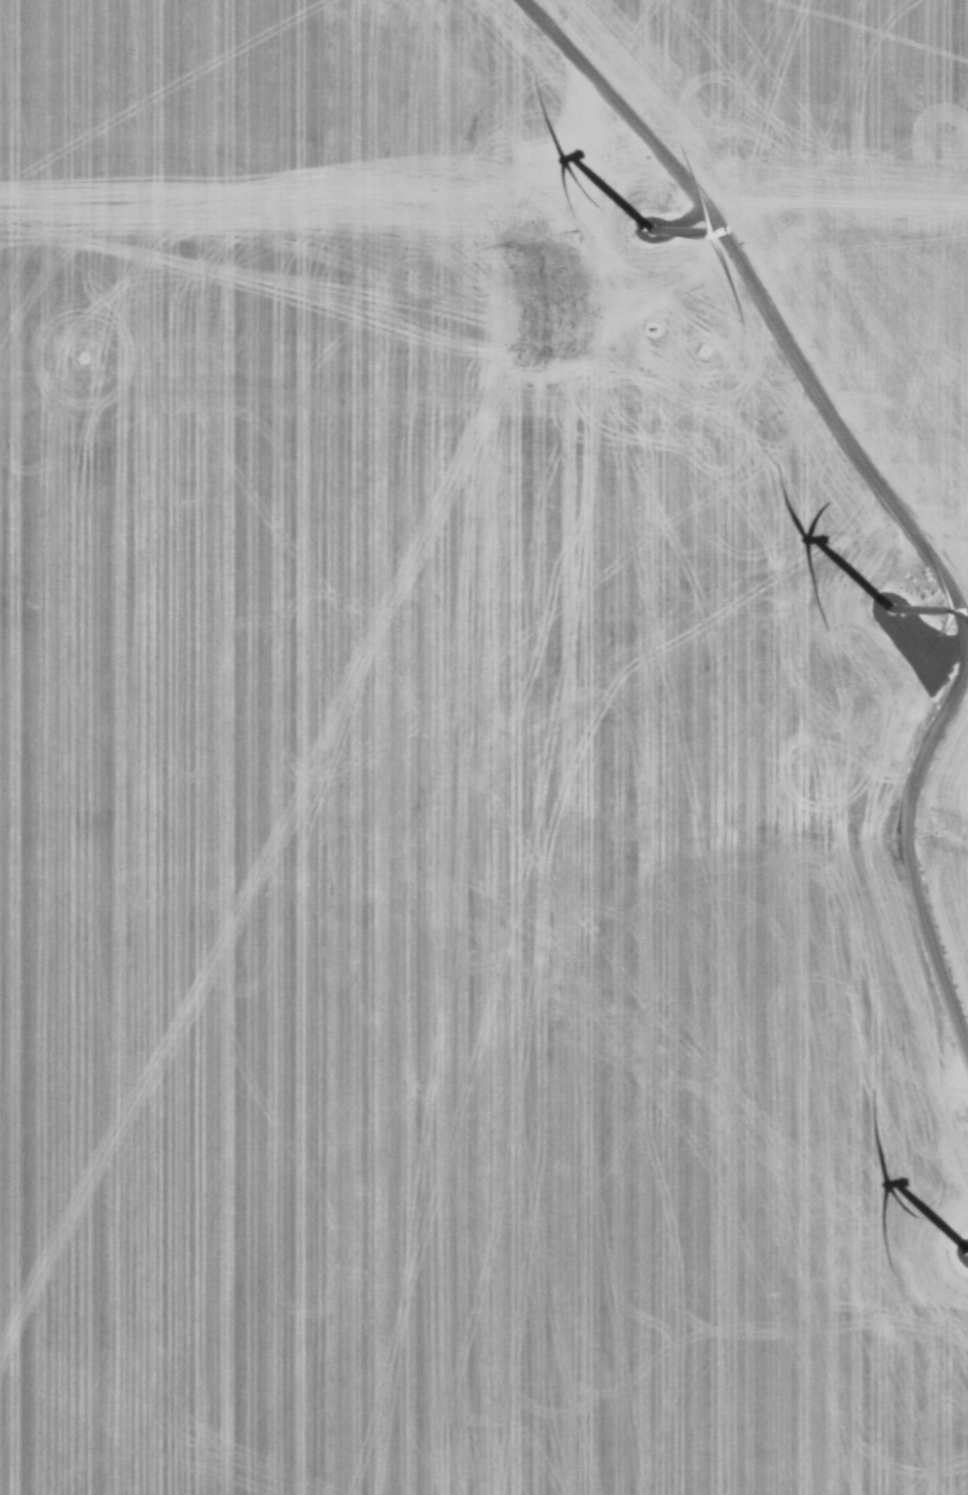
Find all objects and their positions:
wind turbine: (642, 239)
road: (888, 491)
wind turbine: (884, 617)

